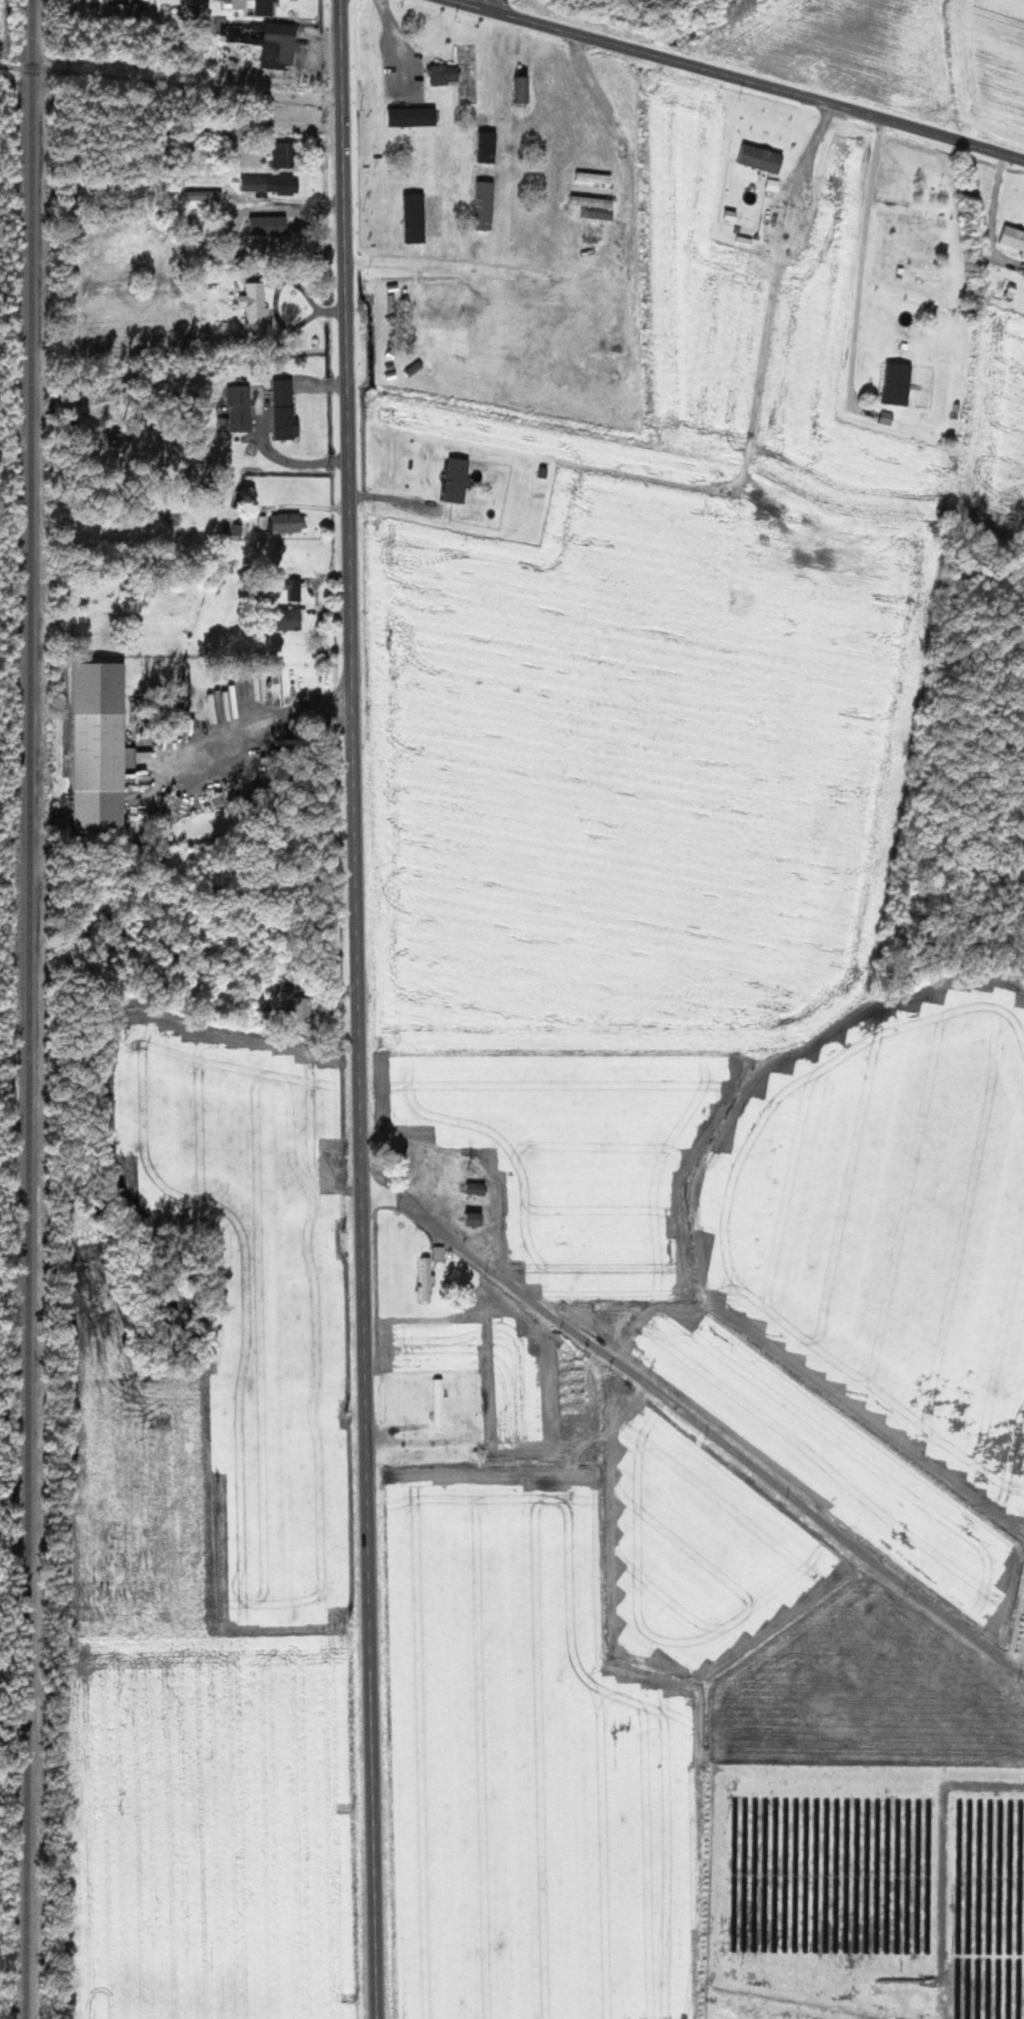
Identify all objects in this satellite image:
road: (486, 2)
building: (255, 6)
building: (122, 10)
building: (282, 45)
building: (446, 74)
road: (173, 78)
road: (744, 79)
building: (414, 117)
building: (487, 131)
building: (287, 155)
road: (632, 156)
building: (762, 158)
building: (271, 184)
building: (484, 189)
building: (830, 189)
building: (198, 195)
road: (786, 197)
building: (427, 215)
building: (926, 219)
building: (1013, 236)
road: (858, 251)
building: (257, 306)
building: (899, 383)
building: (959, 400)
building: (241, 408)
building: (287, 411)
building: (458, 479)
building: (292, 521)
building: (293, 618)
building: (103, 745)
building: (300, 1006)
railway: (29, 1009)
road: (358, 1009)
building: (478, 1188)
building: (477, 1219)
building: (440, 1252)
building: (429, 1278)
road: (697, 1422)

